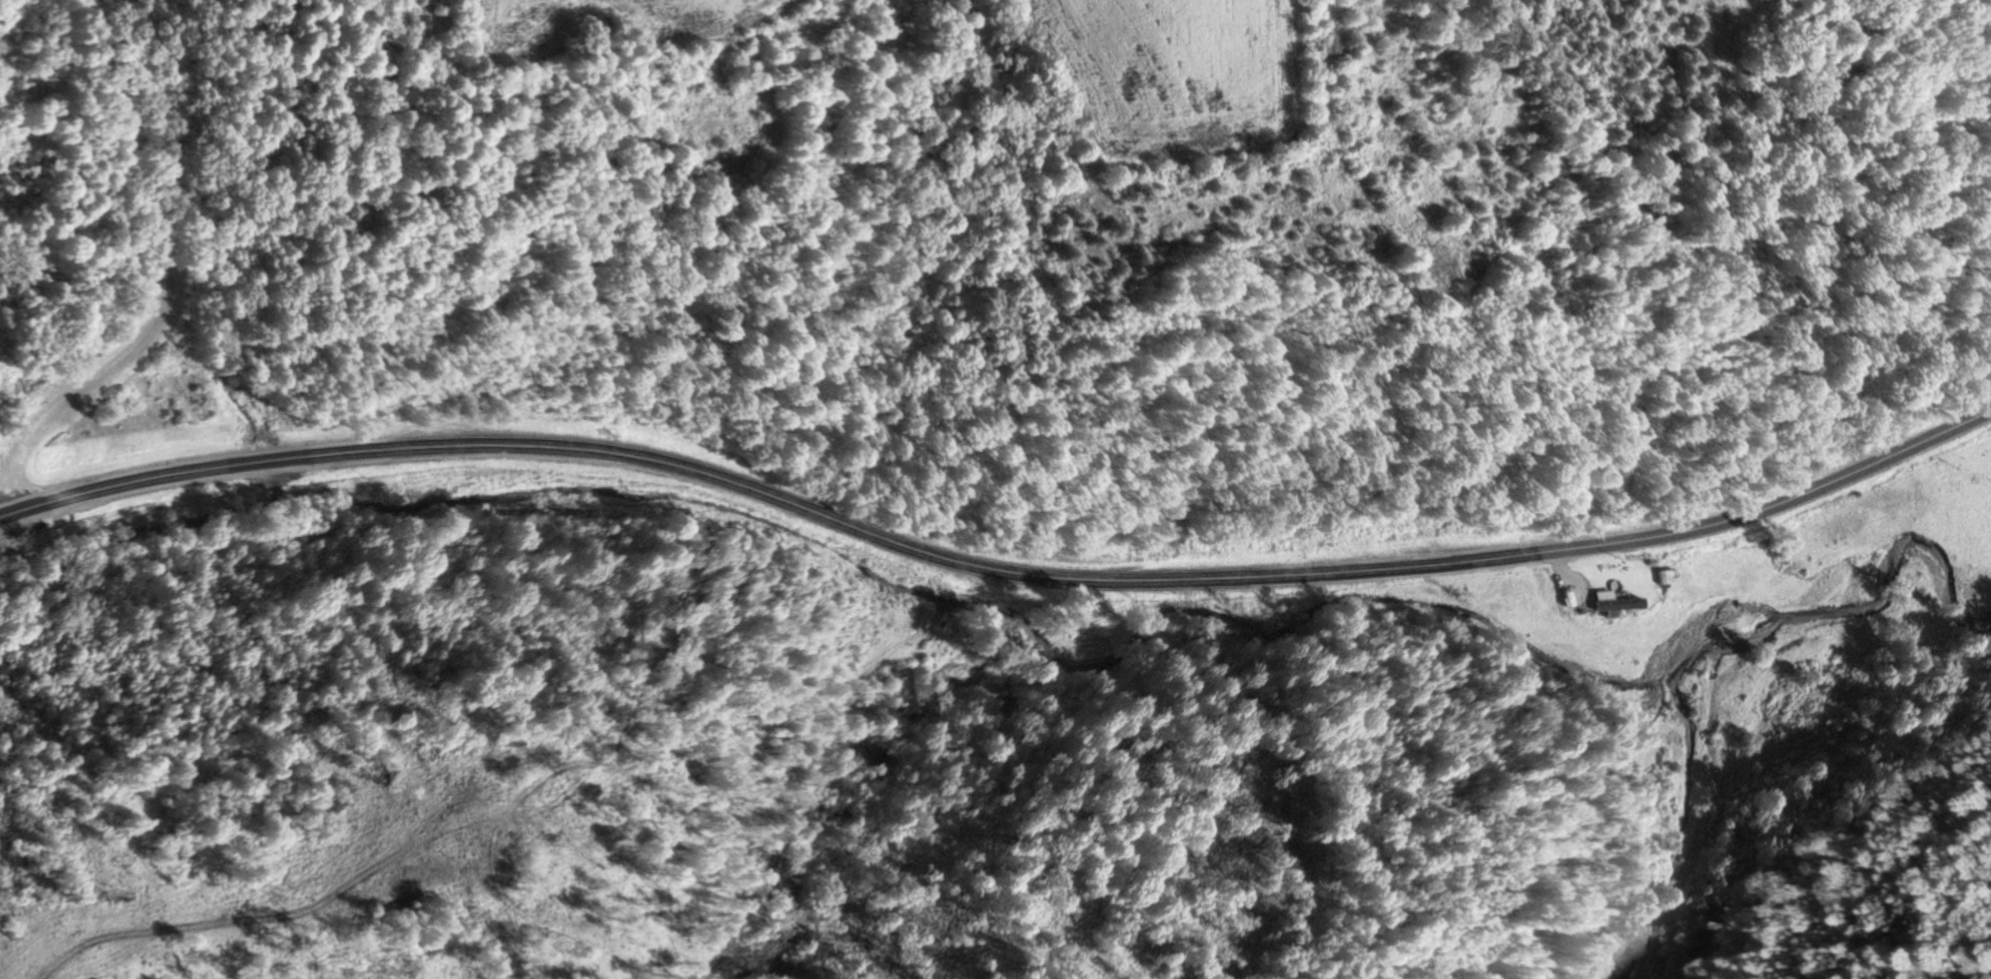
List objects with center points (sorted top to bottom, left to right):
road: (163, 282)
road: (996, 571)
building: (1663, 578)
building: (1609, 603)

